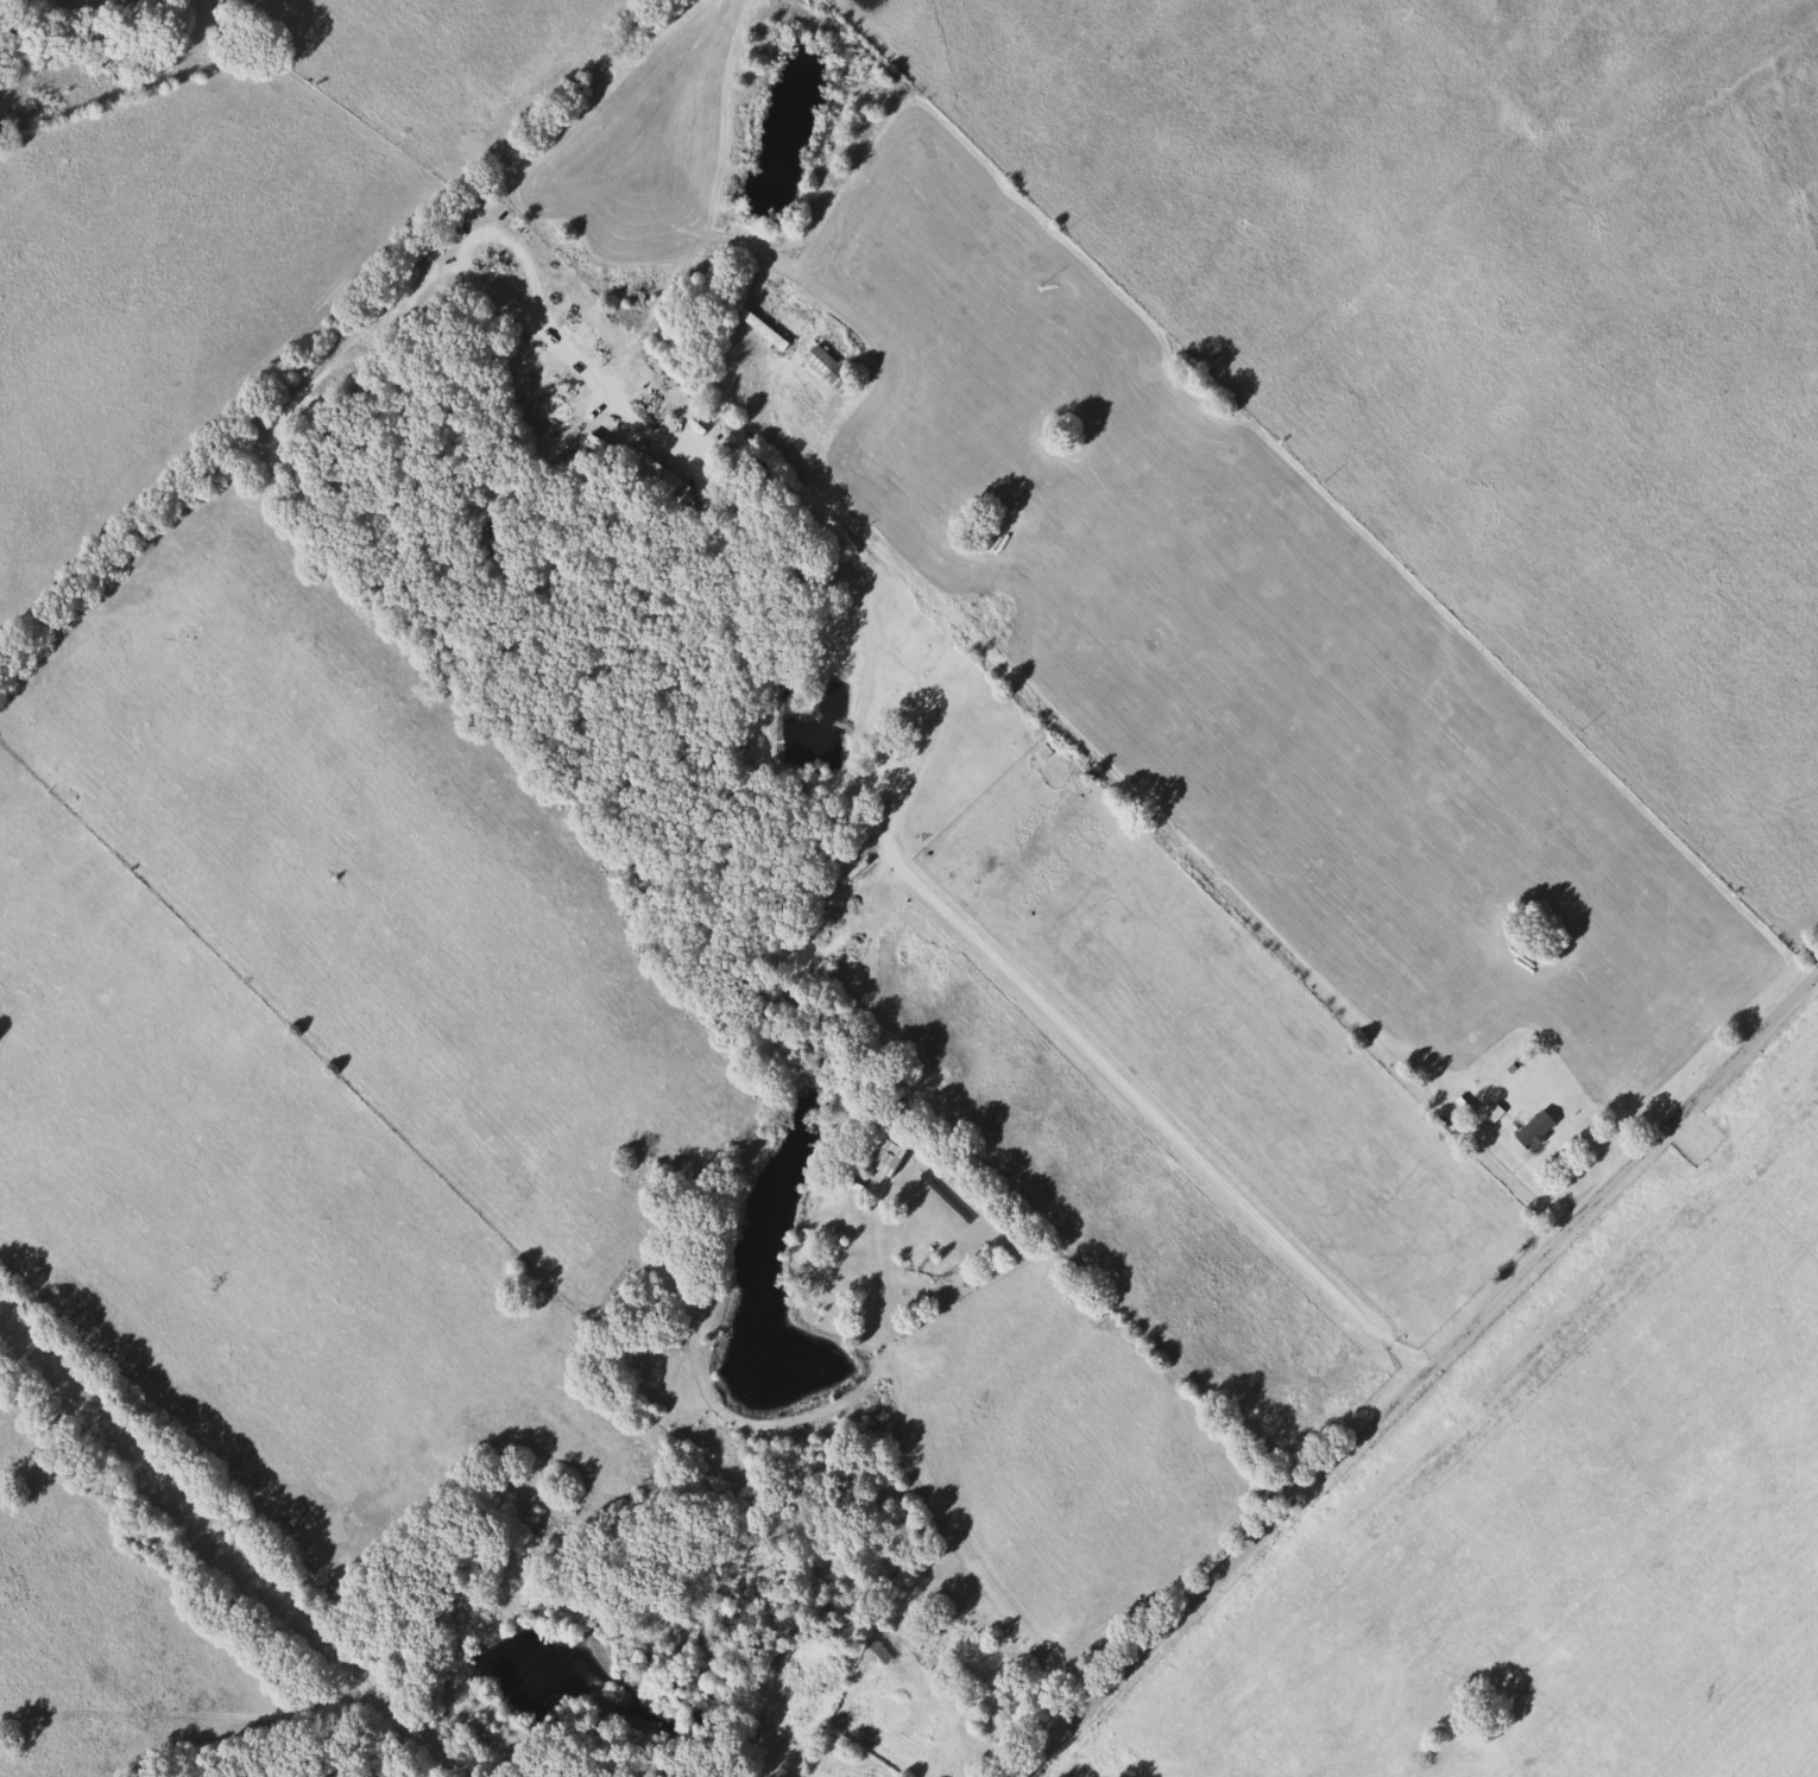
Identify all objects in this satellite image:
building: (759, 330)
building: (640, 469)
road: (946, 715)
road: (1454, 1118)
building: (1530, 1128)
building: (882, 1158)
road: (1520, 1187)
road: (1416, 1371)
road: (927, 1486)

